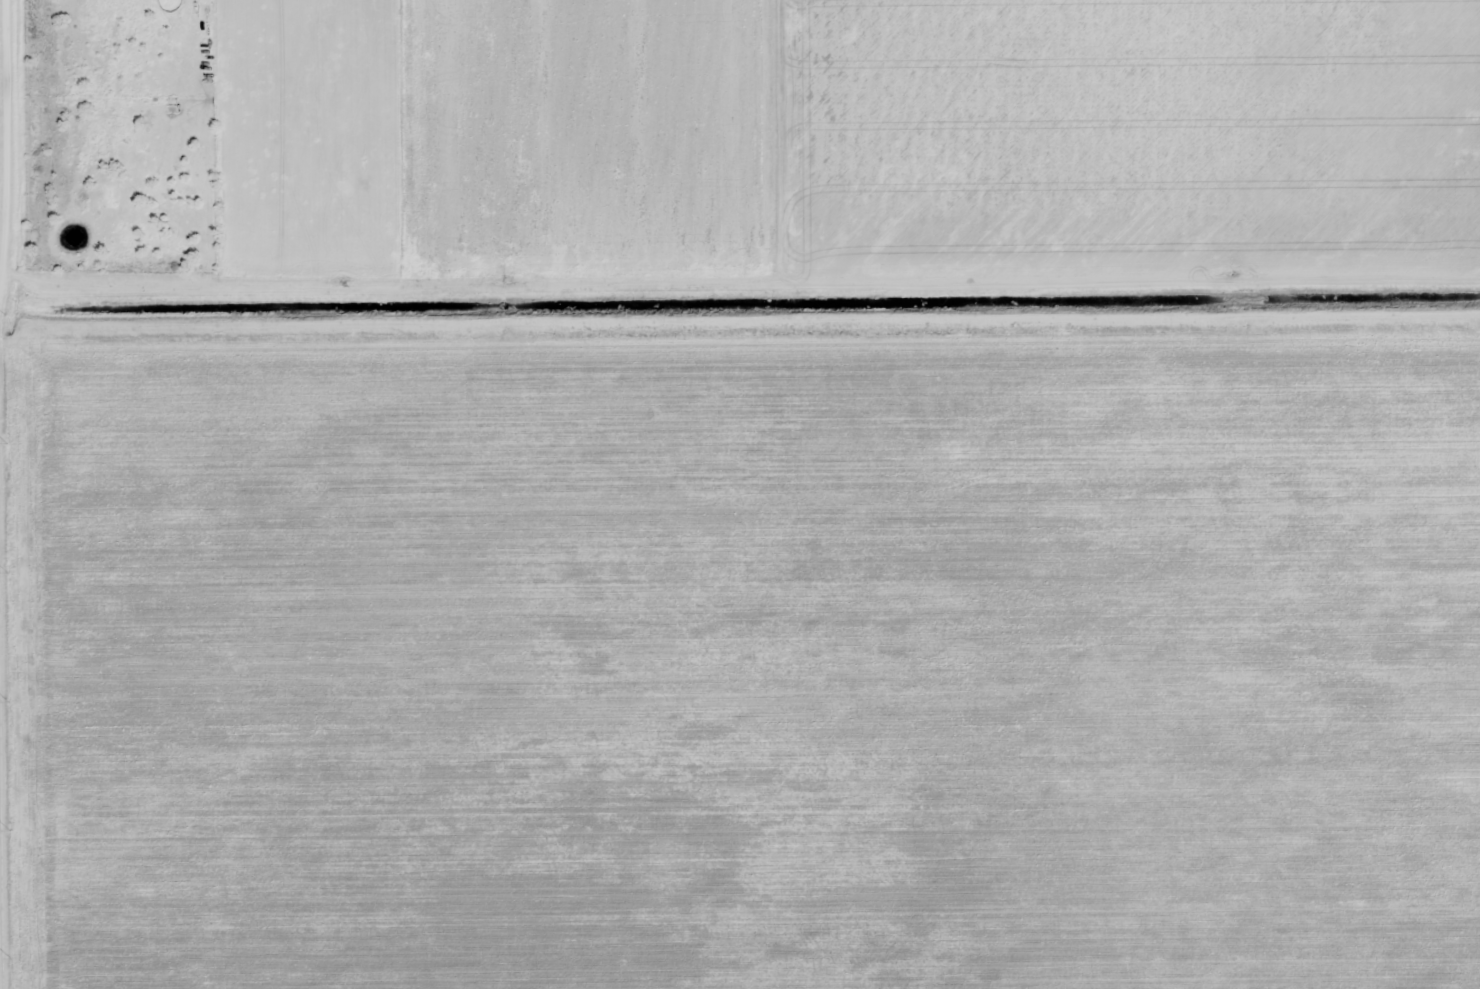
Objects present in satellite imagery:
road: (740, 287)

